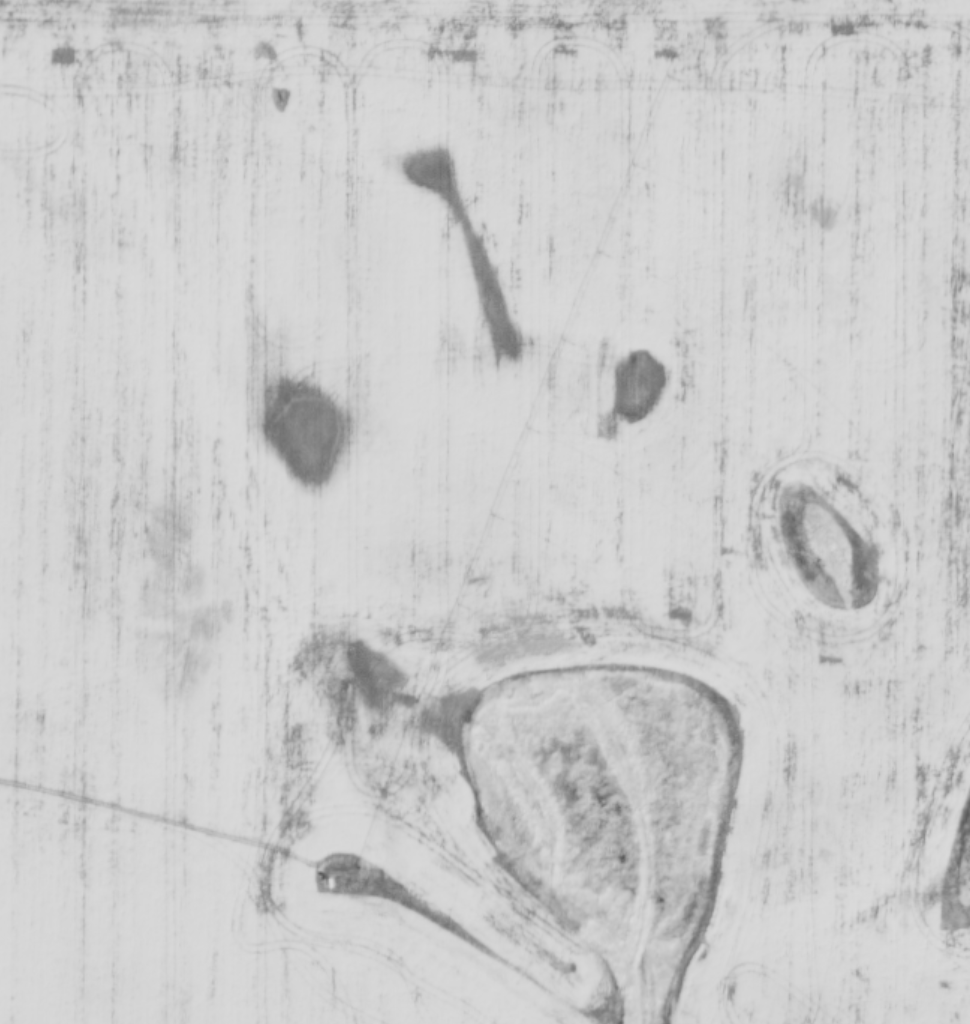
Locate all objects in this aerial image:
road: (33, 53)
building: (333, 880)

